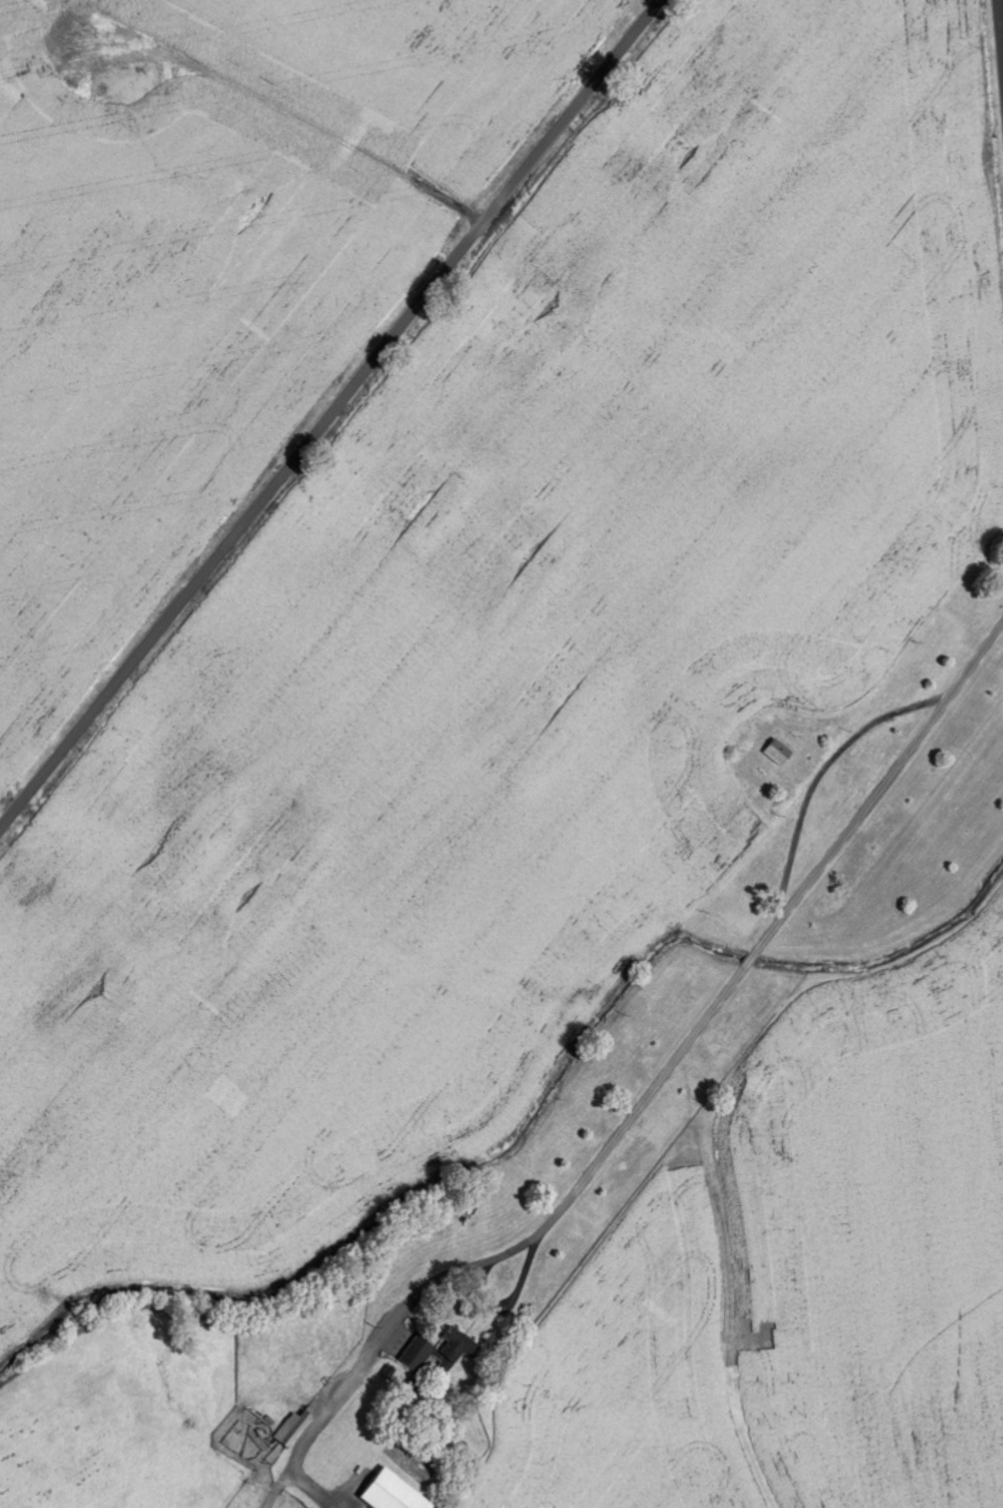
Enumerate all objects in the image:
road: (1001, 22)
road: (332, 416)
building: (776, 751)
road: (601, 1067)
building: (438, 1352)
building: (291, 1429)
building: (388, 1493)

